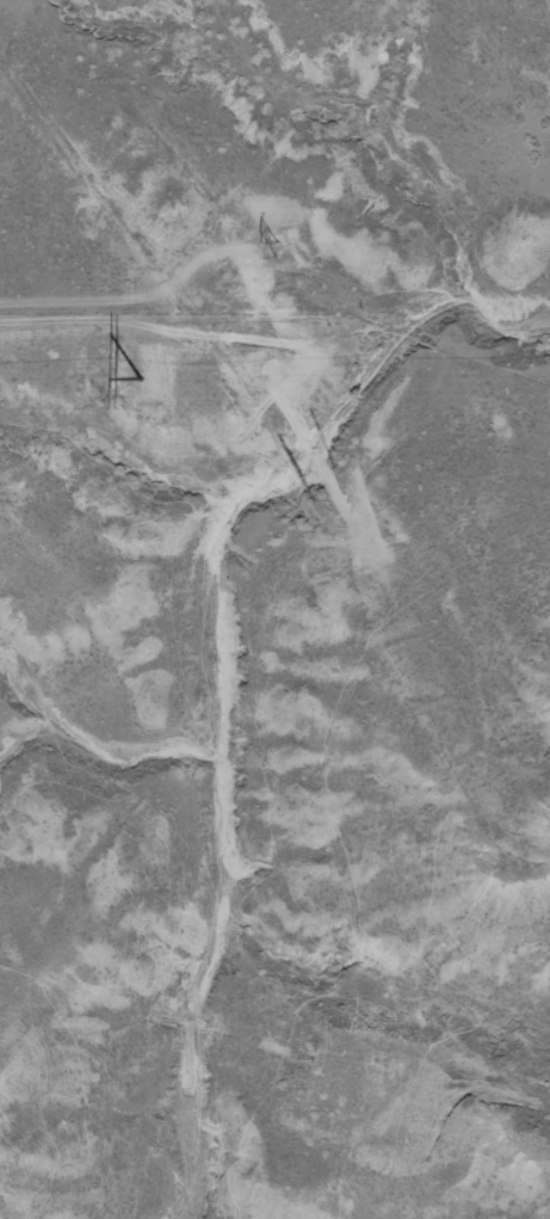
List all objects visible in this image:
power tower: (276, 248)
power tower: (142, 378)

